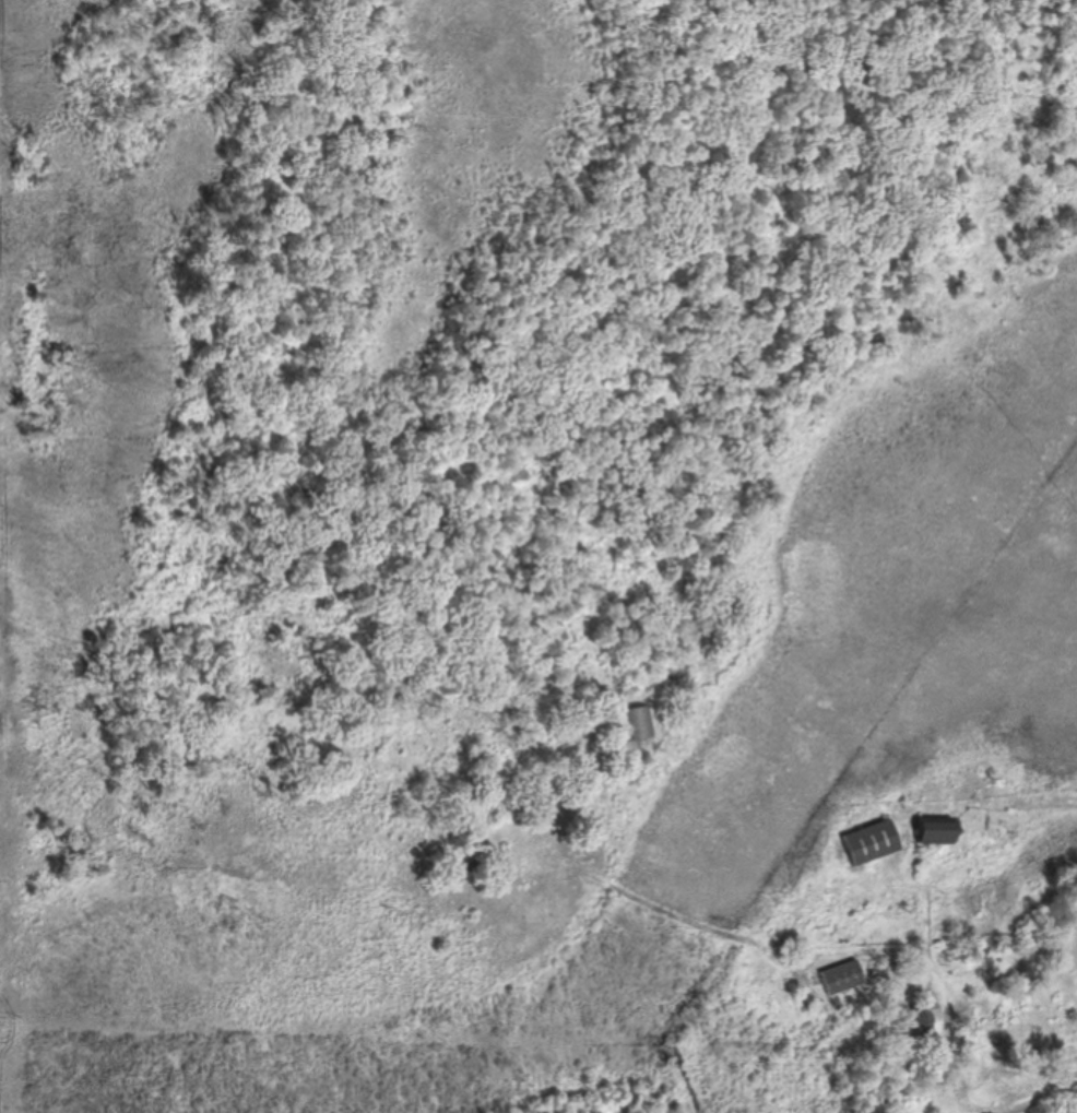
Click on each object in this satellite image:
building: (638, 724)
building: (939, 831)
building: (874, 843)
building: (843, 979)
road: (930, 983)
building: (924, 1019)

